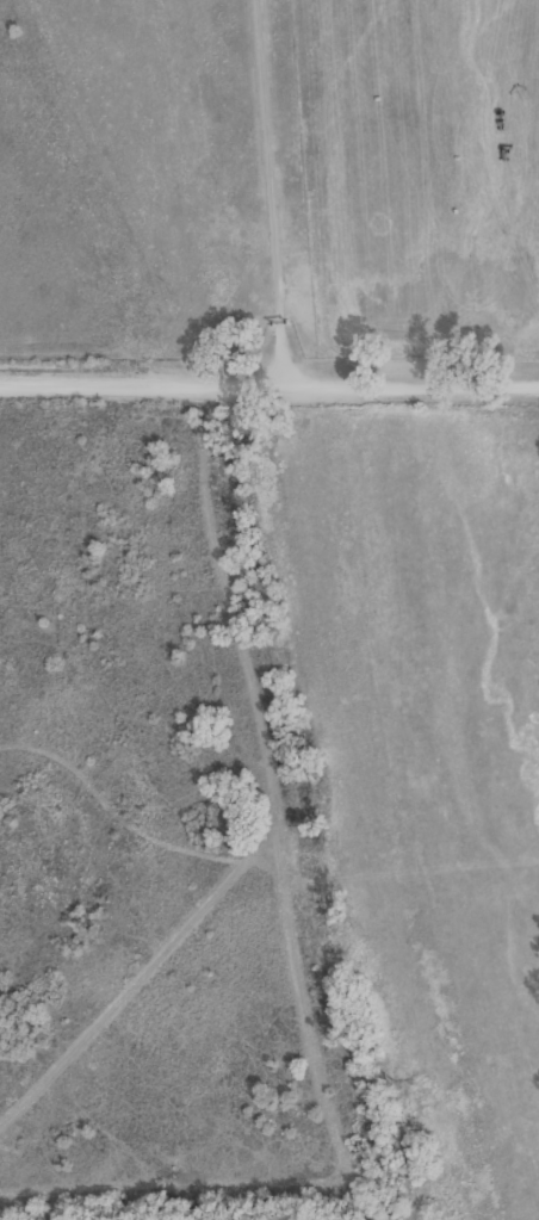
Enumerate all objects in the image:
road: (269, 384)
road: (215, 581)

